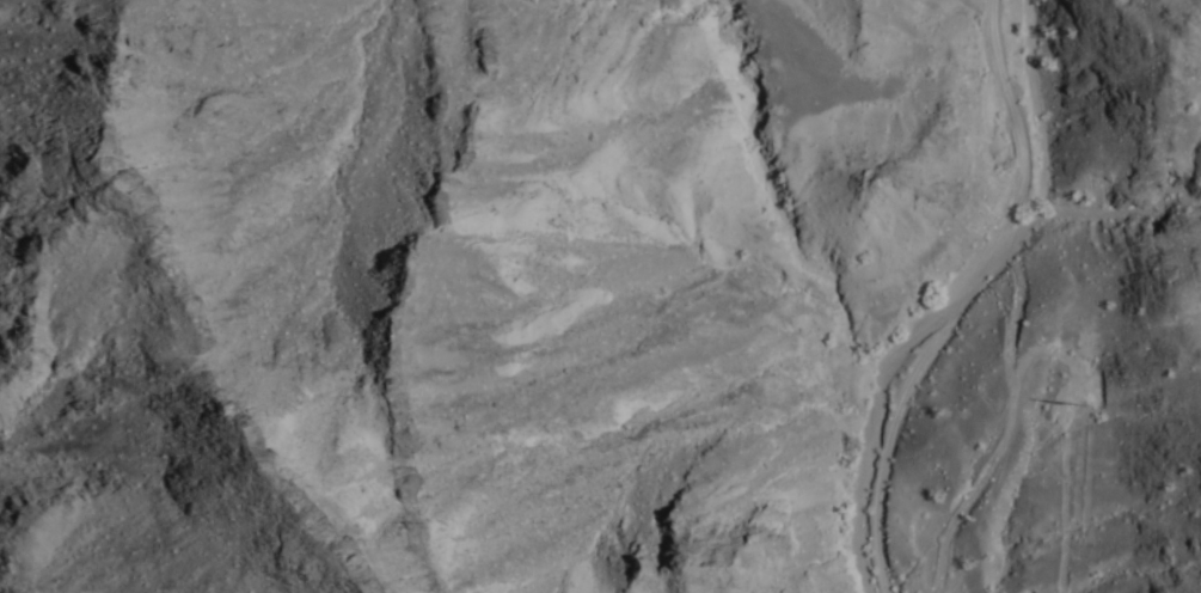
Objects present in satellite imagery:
power tower: (1084, 401)

